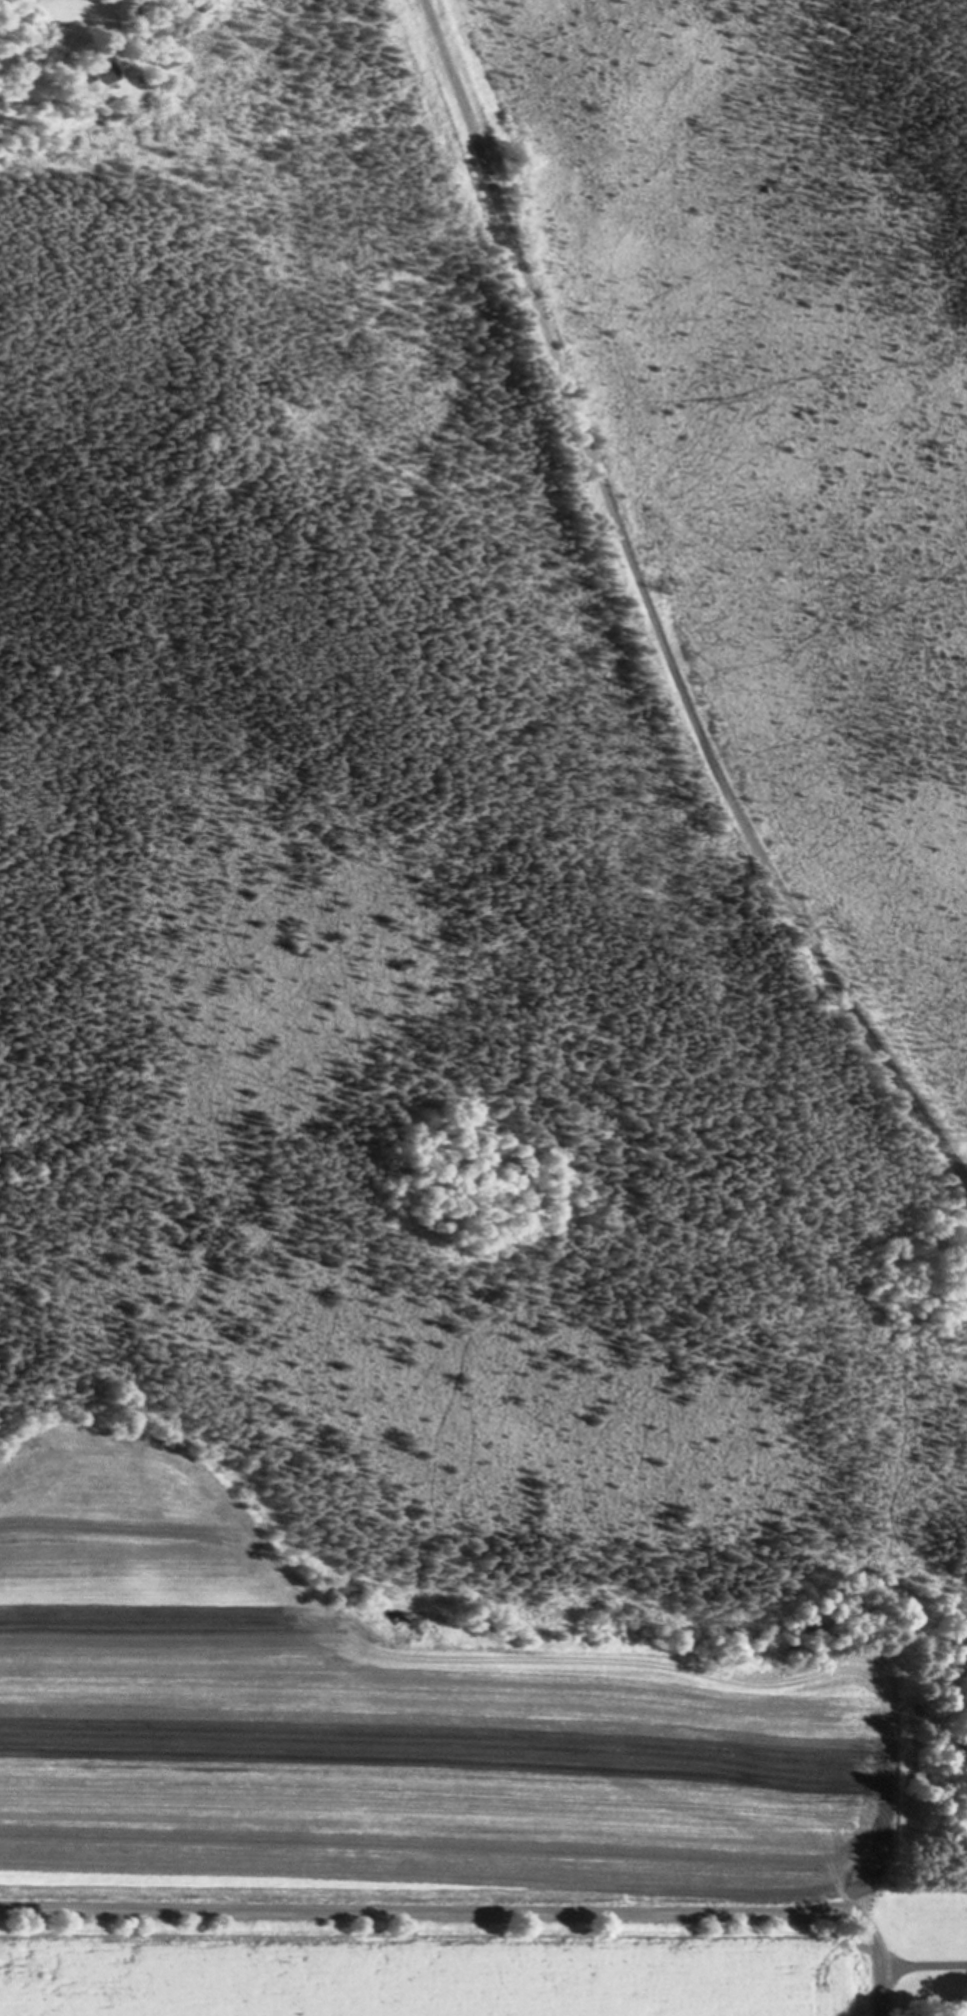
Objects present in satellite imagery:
building: (109, 72)
road: (649, 610)
road: (503, 1910)
road: (879, 1992)

